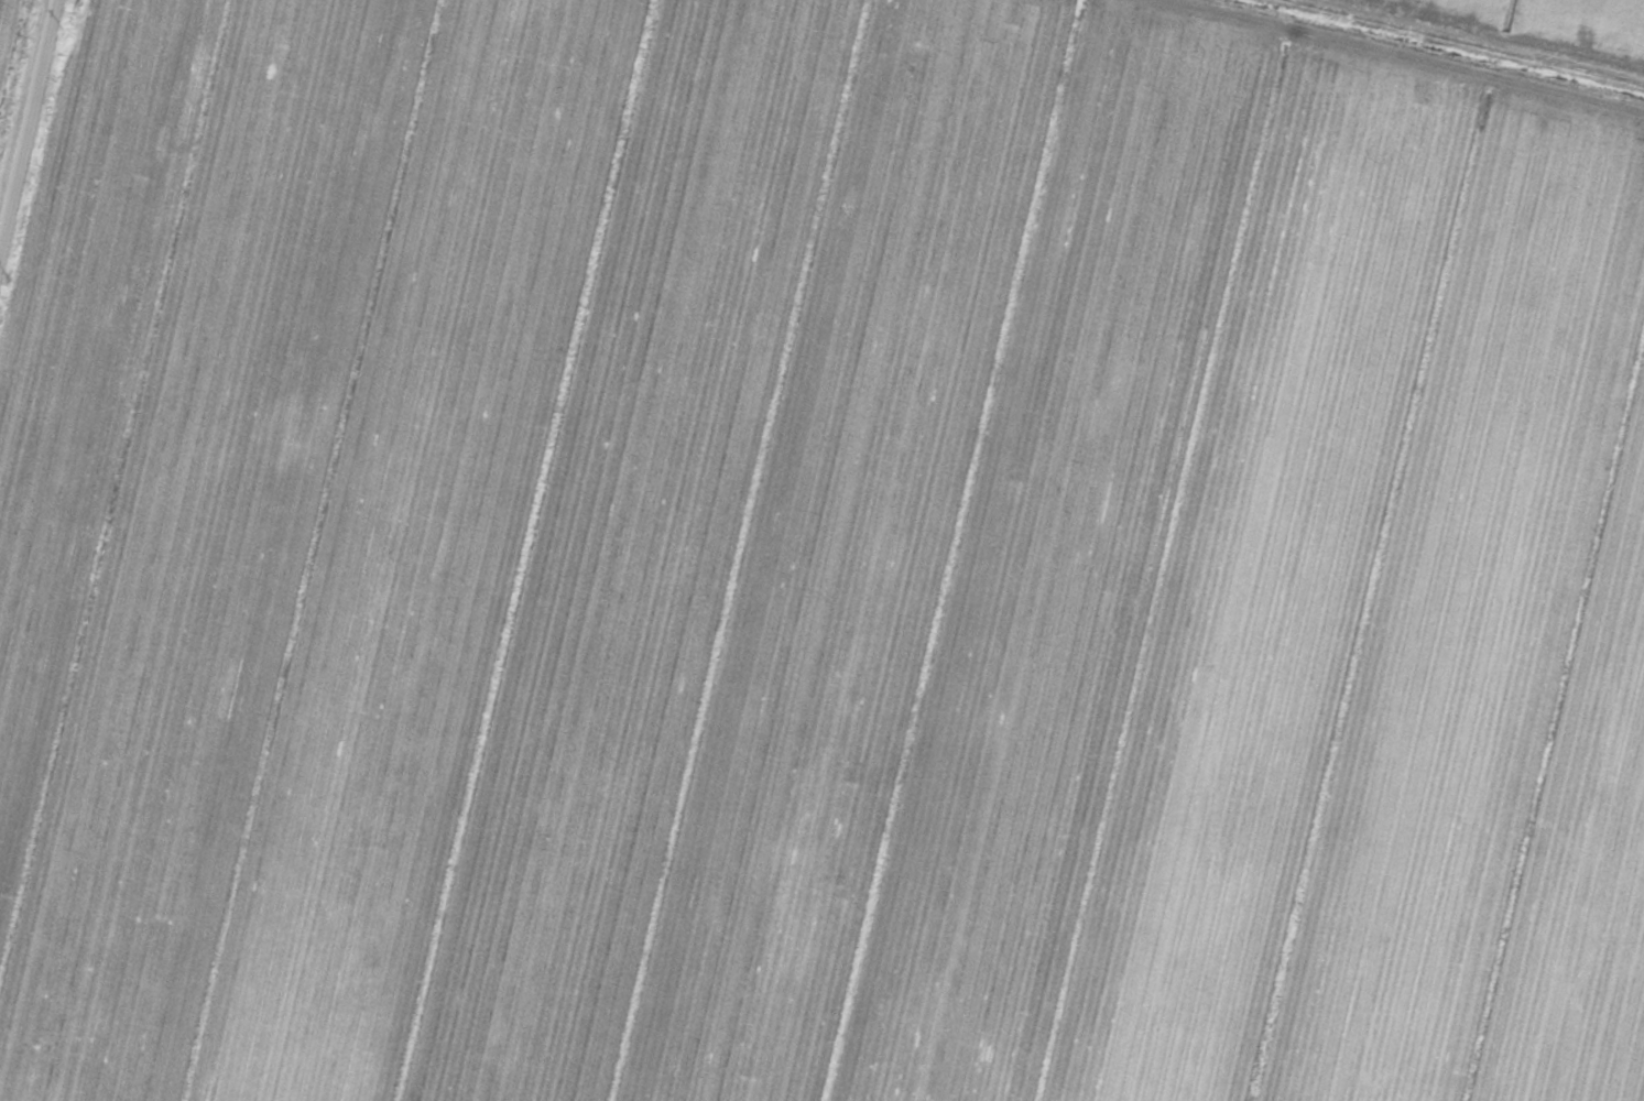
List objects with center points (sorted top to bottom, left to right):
road: (1485, 36)
road: (28, 120)

